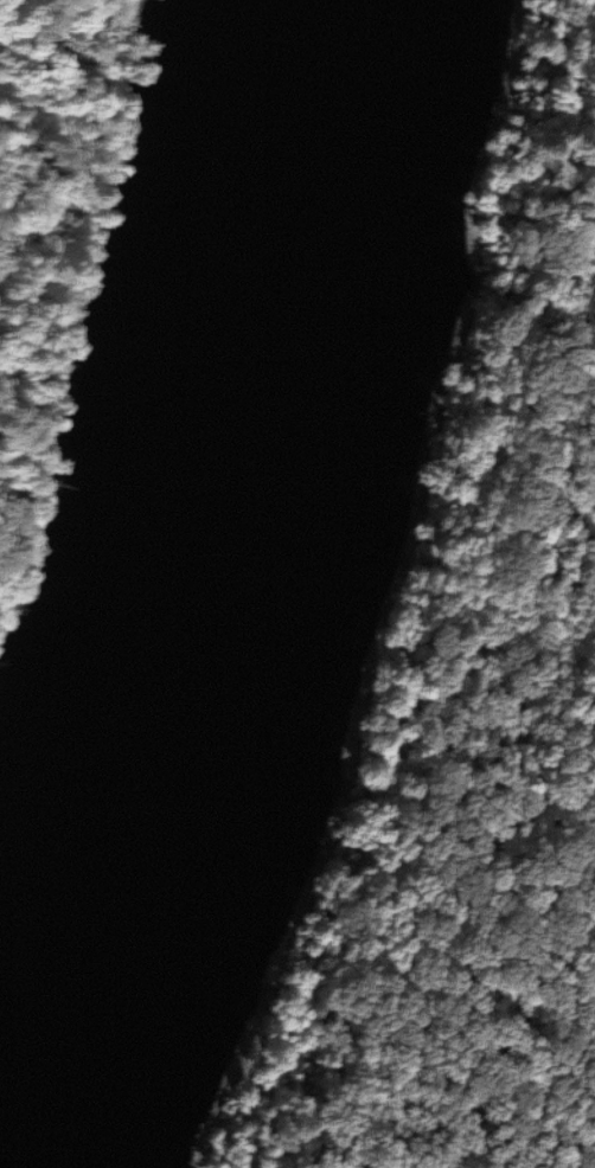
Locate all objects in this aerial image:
river: (210, 553)

